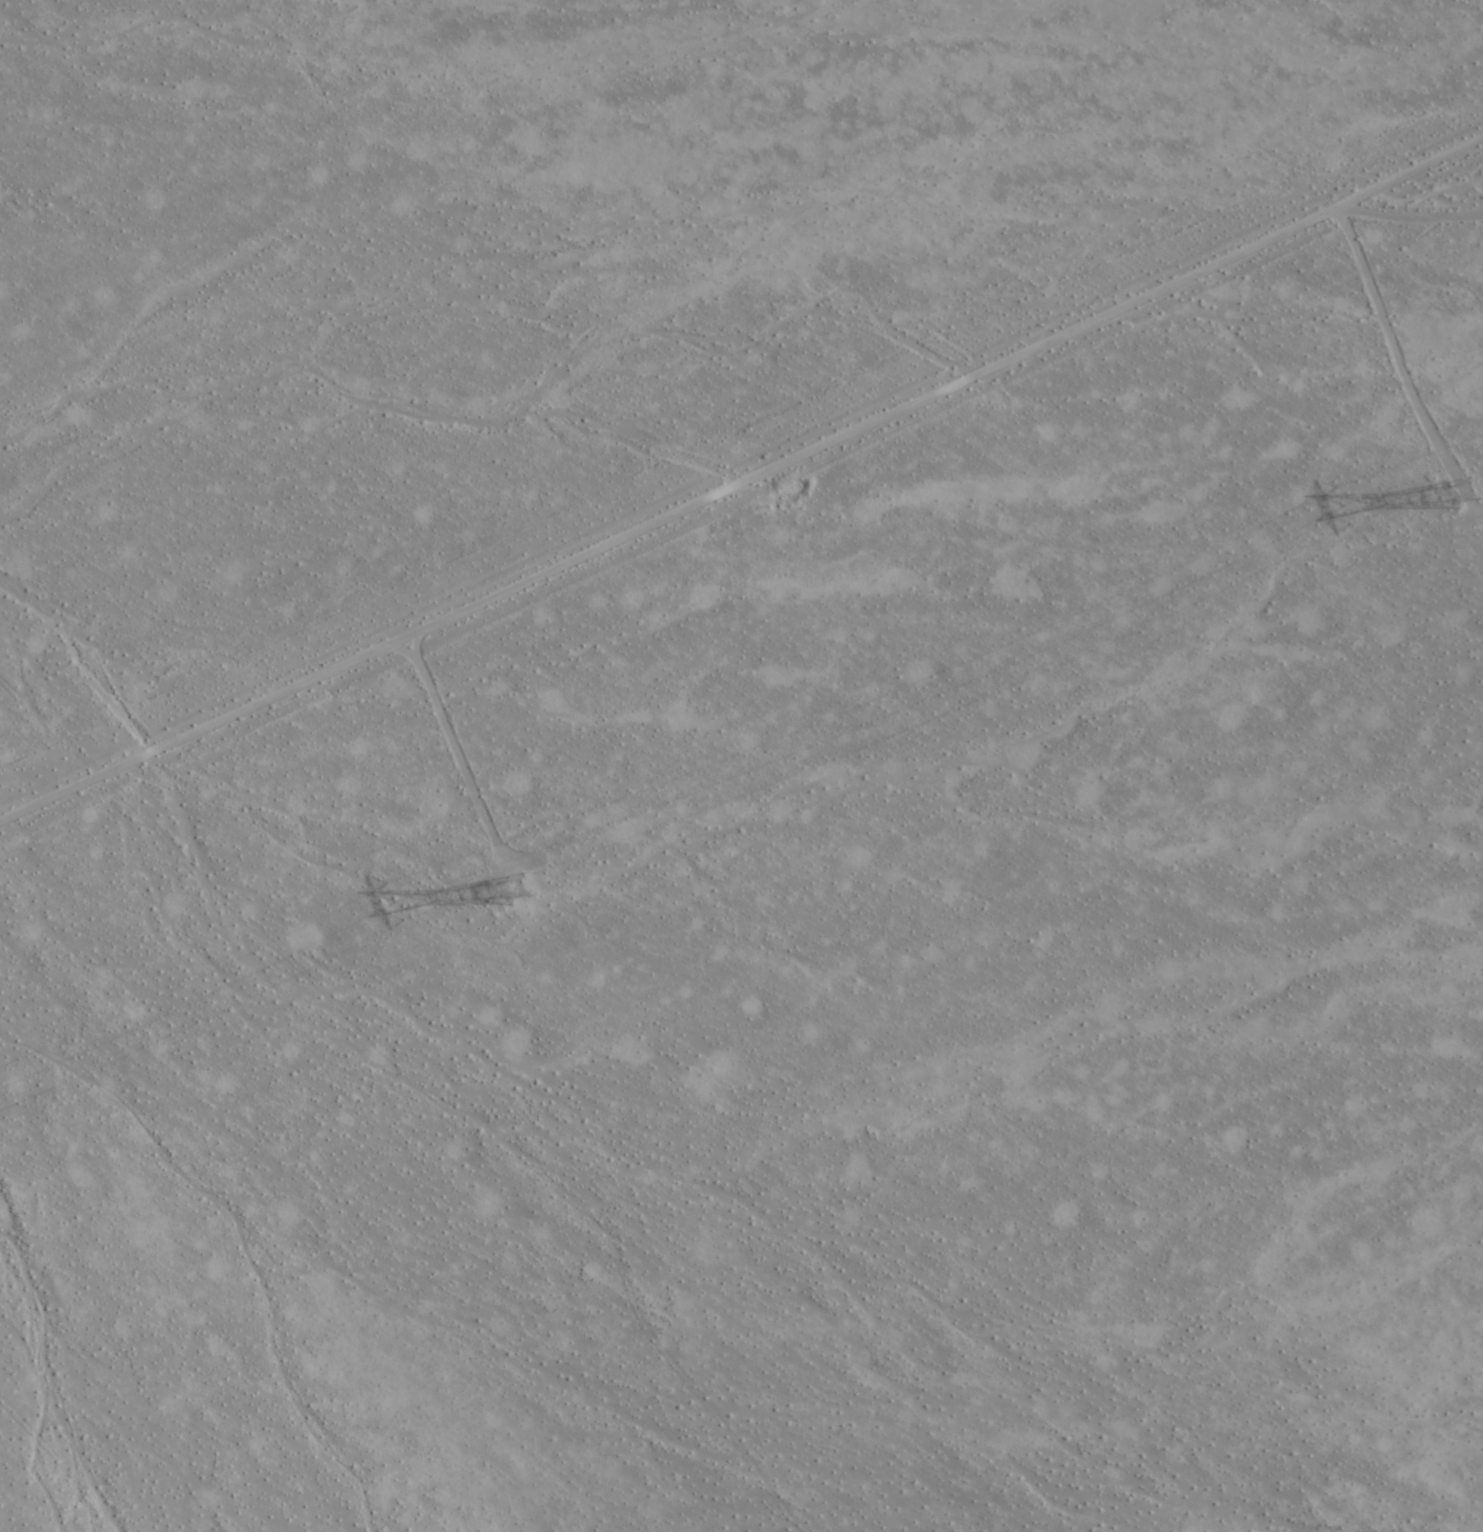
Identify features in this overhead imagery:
road: (1419, 217)
power tower: (1462, 492)
road: (741, 493)
power tower: (526, 893)

